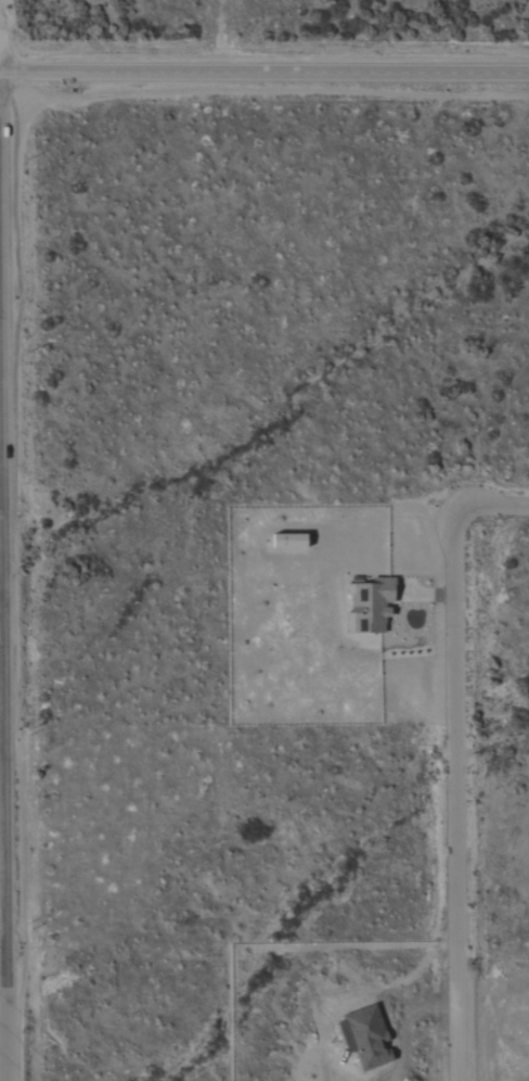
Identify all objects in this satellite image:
road: (264, 72)
road: (2, 492)
building: (372, 607)
road: (5, 647)
road: (3, 749)
road: (453, 759)
road: (4, 962)

